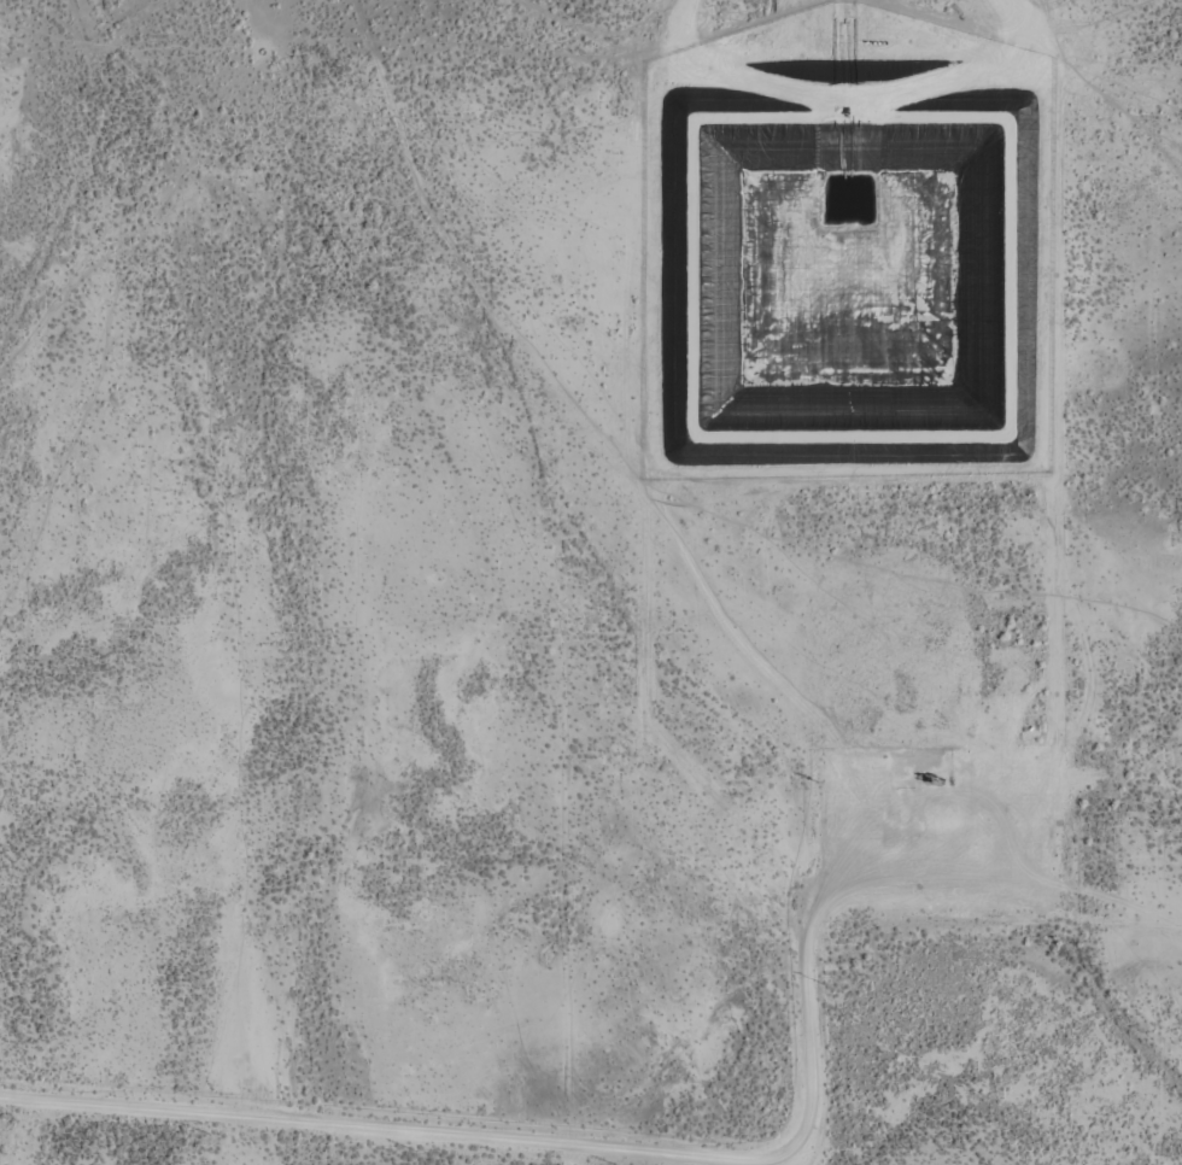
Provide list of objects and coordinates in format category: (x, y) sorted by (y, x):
road: (426, 111)
road: (584, 527)

